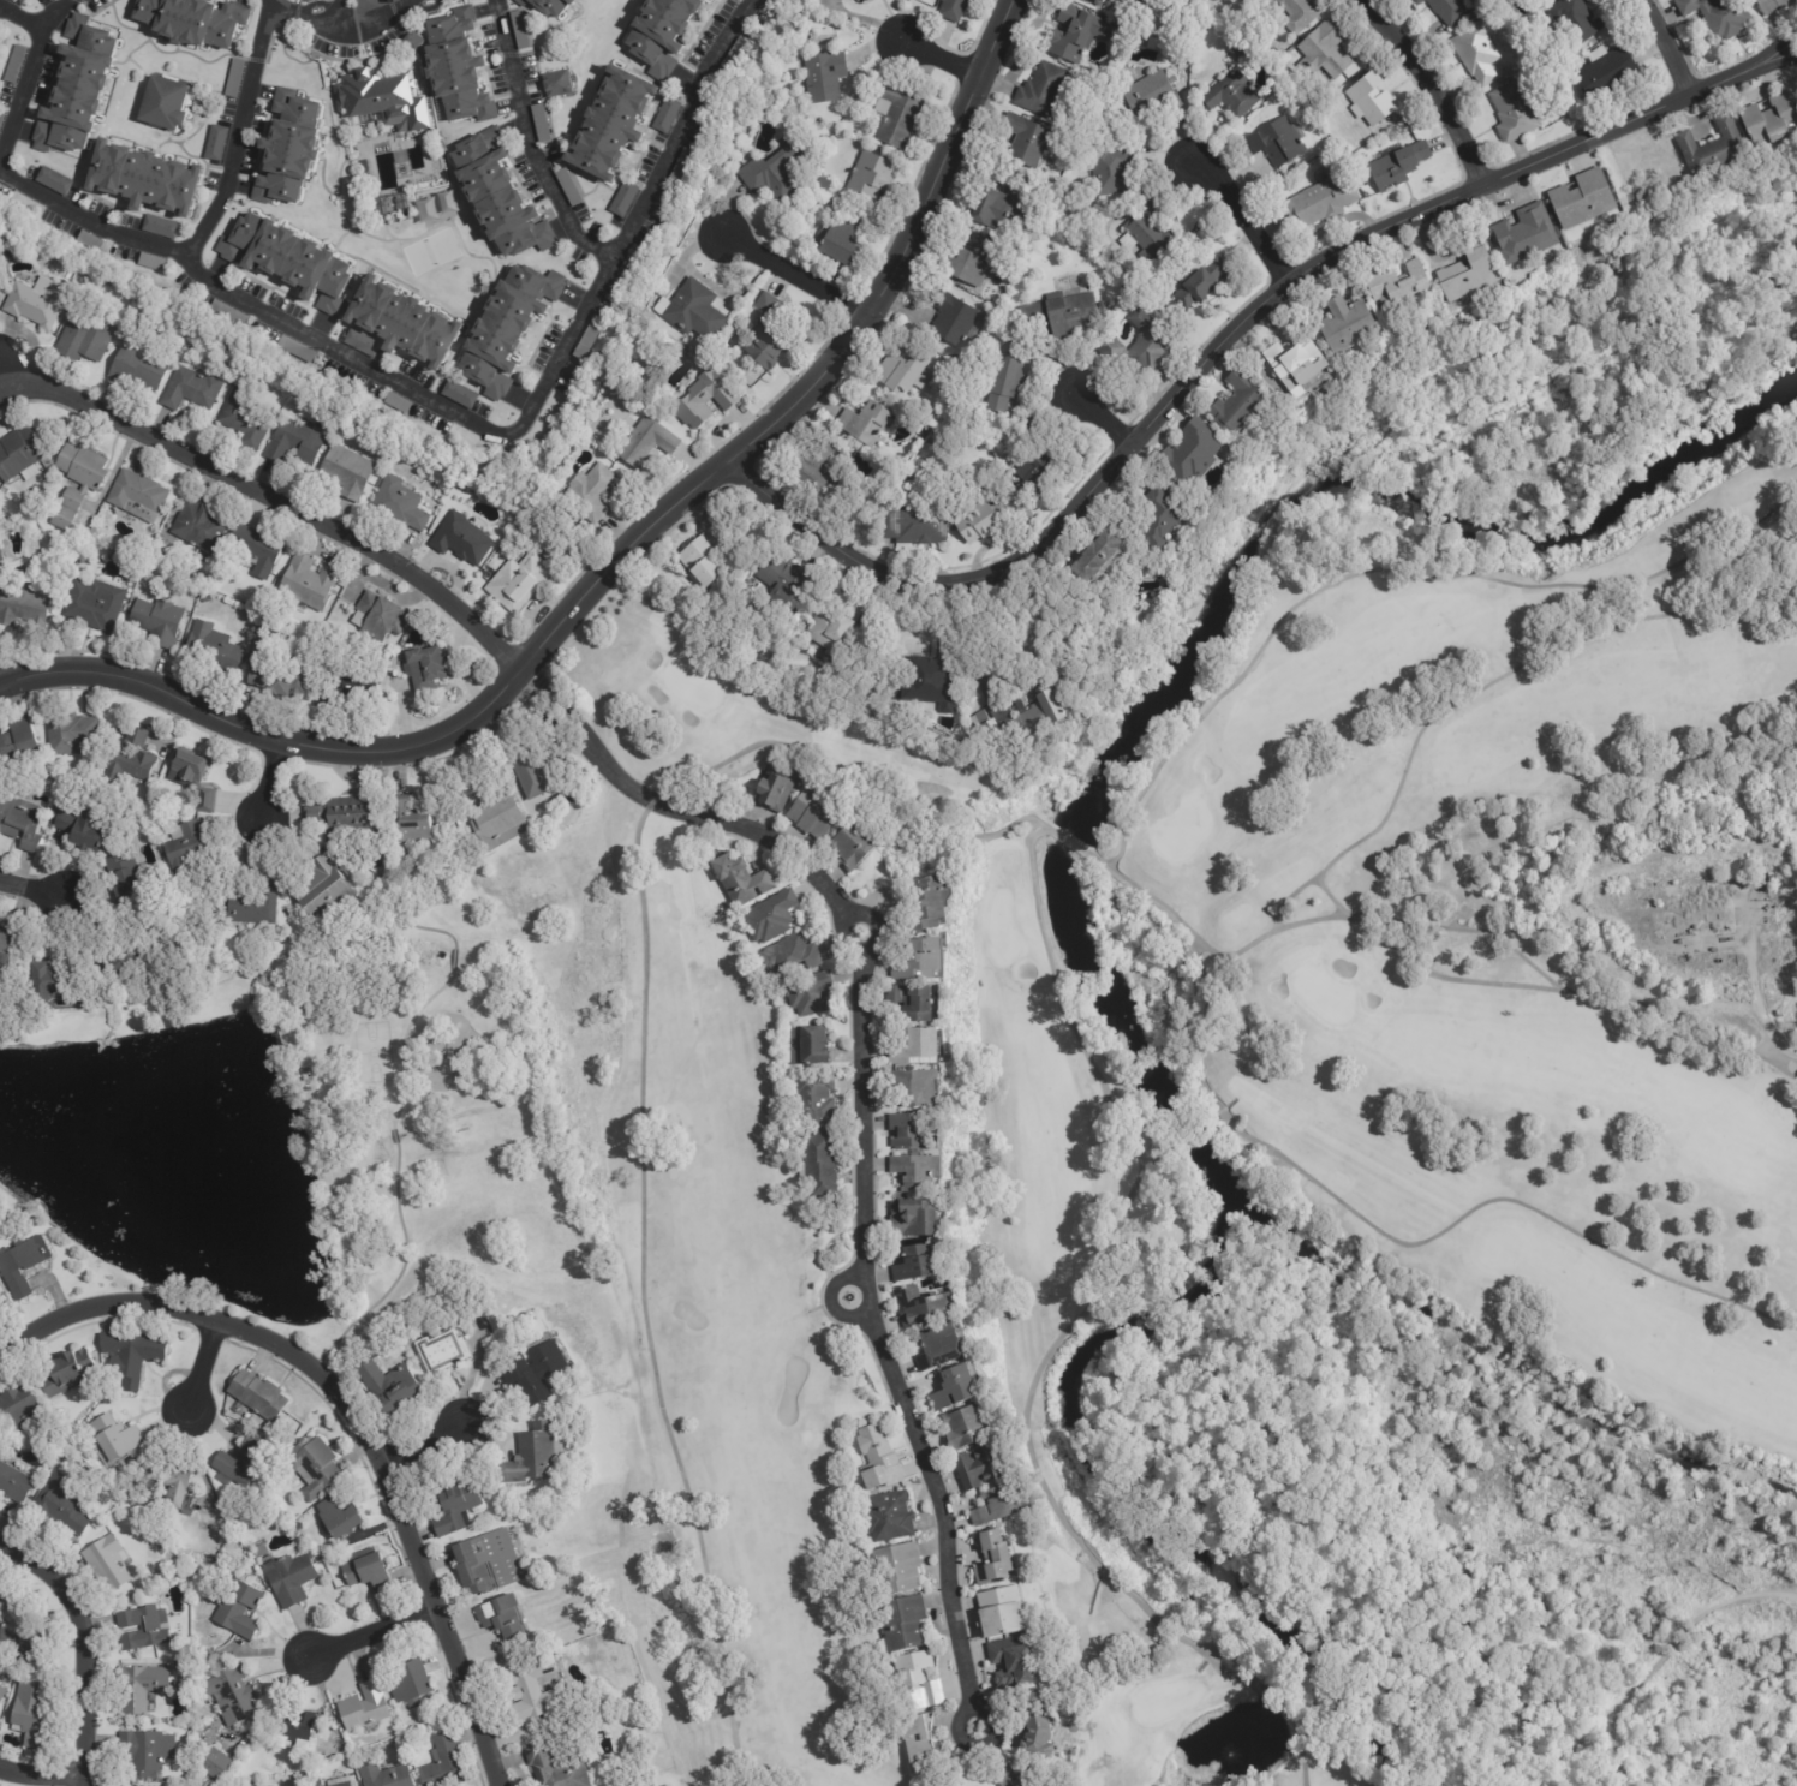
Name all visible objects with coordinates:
building: (40, 0)
building: (715, 0)
building: (717, 0)
building: (842, 0)
building: (854, 0)
building: (1546, 0)
building: (772, 1)
building: (861, 1)
building: (1095, 1)
building: (549, 6)
building: (1773, 6)
road: (375, 8)
building: (953, 10)
building: (1447, 10)
road: (275, 13)
building: (1297, 13)
building: (1719, 17)
road: (334, 18)
building: (1576, 19)
building: (195, 20)
road: (37, 22)
building: (519, 29)
building: (1076, 32)
building: (663, 35)
building: (412, 42)
road: (1672, 43)
building: (1237, 48)
building: (1323, 54)
building: (1476, 54)
building: (734, 55)
road: (949, 59)
building: (13, 64)
building: (459, 67)
building: (1130, 71)
building: (824, 74)
building: (1607, 74)
building: (234, 78)
building: (555, 83)
road: (17, 88)
building: (80, 89)
building: (1040, 89)
road: (1426, 91)
building: (1152, 94)
building: (1230, 94)
building: (381, 97)
building: (1371, 98)
building: (165, 104)
building: (1515, 114)
building: (665, 115)
building: (897, 115)
building: (1, 118)
building: (1771, 119)
building: (539, 124)
building: (613, 124)
building: (753, 138)
building: (823, 139)
building: (1027, 139)
building: (1276, 142)
building: (214, 143)
road: (525, 147)
building: (291, 149)
building: (1713, 149)
building: (1398, 163)
building: (680, 167)
fountain: (401, 171)
building: (774, 171)
building: (1110, 171)
building: (868, 175)
building: (147, 178)
building: (54, 181)
building: (568, 187)
building: (1367, 195)
building: (501, 197)
building: (812, 198)
building: (1323, 198)
building: (1583, 198)
building: (623, 199)
building: (392, 202)
building: (997, 204)
building: (161, 227)
road: (1243, 227)
road: (201, 234)
building: (1148, 234)
building: (1524, 234)
building: (89, 241)
building: (840, 241)
park: (430, 252)
building: (7, 253)
building: (972, 259)
building: (289, 261)
building: (150, 262)
building: (1473, 271)
road: (802, 274)
building: (1200, 282)
building: (1401, 293)
building: (35, 303)
building: (1103, 306)
building: (694, 311)
building: (226, 313)
building: (1059, 315)
building: (954, 318)
building: (405, 323)
building: (1349, 327)
building: (511, 328)
building: (766, 336)
building: (586, 341)
building: (85, 342)
building: (362, 342)
building: (1138, 345)
road: (1234, 345)
building: (294, 350)
building: (1294, 360)
building: (138, 369)
building: (903, 370)
building: (1007, 374)
road: (547, 384)
building: (191, 389)
building: (459, 394)
building: (704, 400)
building: (396, 404)
building: (1237, 404)
building: (243, 419)
road: (1108, 422)
building: (864, 423)
building: (1029, 429)
building: (645, 442)
building: (293, 444)
building: (18, 454)
building: (1190, 454)
building: (817, 464)
building: (1039, 471)
building: (347, 472)
building: (78, 483)
building: (591, 492)
building: (136, 496)
road: (270, 498)
building: (398, 504)
building: (984, 519)
building: (1153, 519)
building: (913, 524)
building: (197, 526)
building: (90, 532)
building: (461, 539)
building: (255, 550)
building: (703, 556)
building: (0, 559)
building: (1097, 561)
road: (620, 568)
building: (66, 572)
building: (77, 573)
building: (518, 581)
building: (783, 581)
building: (306, 584)
building: (94, 605)
building: (23, 607)
building: (380, 617)
building: (157, 622)
building: (835, 629)
building: (213, 649)
building: (424, 669)
building: (925, 680)
building: (277, 682)
building: (347, 691)
building: (1028, 710)
building: (992, 731)
building: (68, 735)
building: (19, 749)
building: (129, 761)
building: (535, 767)
building: (189, 770)
road: (279, 784)
building: (774, 787)
building: (205, 801)
building: (814, 811)
building: (346, 814)
building: (496, 820)
building: (408, 822)
building: (22, 824)
building: (84, 830)
building: (854, 846)
building: (187, 850)
building: (124, 879)
building: (740, 880)
road: (32, 888)
building: (1763, 889)
building: (322, 890)
building: (924, 900)
building: (251, 904)
building: (1697, 910)
building: (1465, 915)
building: (769, 916)
building: (1769, 919)
building: (8, 943)
building: (790, 956)
building: (919, 956)
building: (121, 969)
building: (53, 985)
building: (812, 993)
building: (914, 999)
road: (1761, 1008)
building: (811, 1043)
building: (923, 1043)
building: (306, 1074)
building: (917, 1087)
building: (816, 1099)
road: (866, 1119)
building: (913, 1130)
building: (820, 1159)
building: (917, 1171)
park: (1266, 1182)
building: (913, 1218)
building: (915, 1264)
building: (19, 1267)
building: (0, 1298)
building: (921, 1308)
building: (942, 1348)
building: (443, 1351)
building: (133, 1355)
road: (201, 1366)
building: (68, 1373)
building: (531, 1373)
building: (387, 1385)
building: (957, 1386)
building: (257, 1397)
building: (19, 1408)
road: (356, 1412)
building: (966, 1428)
building: (114, 1439)
road: (420, 1442)
building: (530, 1455)
building: (878, 1461)
building: (240, 1462)
building: (56, 1465)
building: (314, 1467)
building: (978, 1468)
building: (92, 1481)
building: (14, 1485)
building: (171, 1485)
building: (455, 1506)
building: (60, 1507)
building: (997, 1507)
building: (338, 1517)
building: (889, 1517)
building: (259, 1552)
building: (992, 1559)
building: (485, 1561)
building: (106, 1565)
building: (897, 1567)
building: (368, 1571)
building: (292, 1579)
building: (147, 1599)
building: (1, 1608)
building: (235, 1608)
building: (999, 1612)
building: (498, 1617)
building: (902, 1623)
building: (141, 1627)
road: (372, 1636)
building: (20, 1644)
road: (77, 1647)
building: (1014, 1659)
building: (917, 1682)
building: (412, 1684)
building: (142, 1688)
building: (532, 1691)
building: (2, 1695)
building: (232, 1696)
building: (364, 1707)
building: (28, 1715)
building: (1032, 1722)
building: (294, 1732)
building: (921, 1743)
building: (147, 1749)
building: (442, 1763)
building: (217, 1764)
building: (553, 1768)
road: (40, 1774)
building: (386, 1776)
building: (1007, 1776)
building: (973, 1780)
building: (345, 1785)
building: (1038, 1785)

